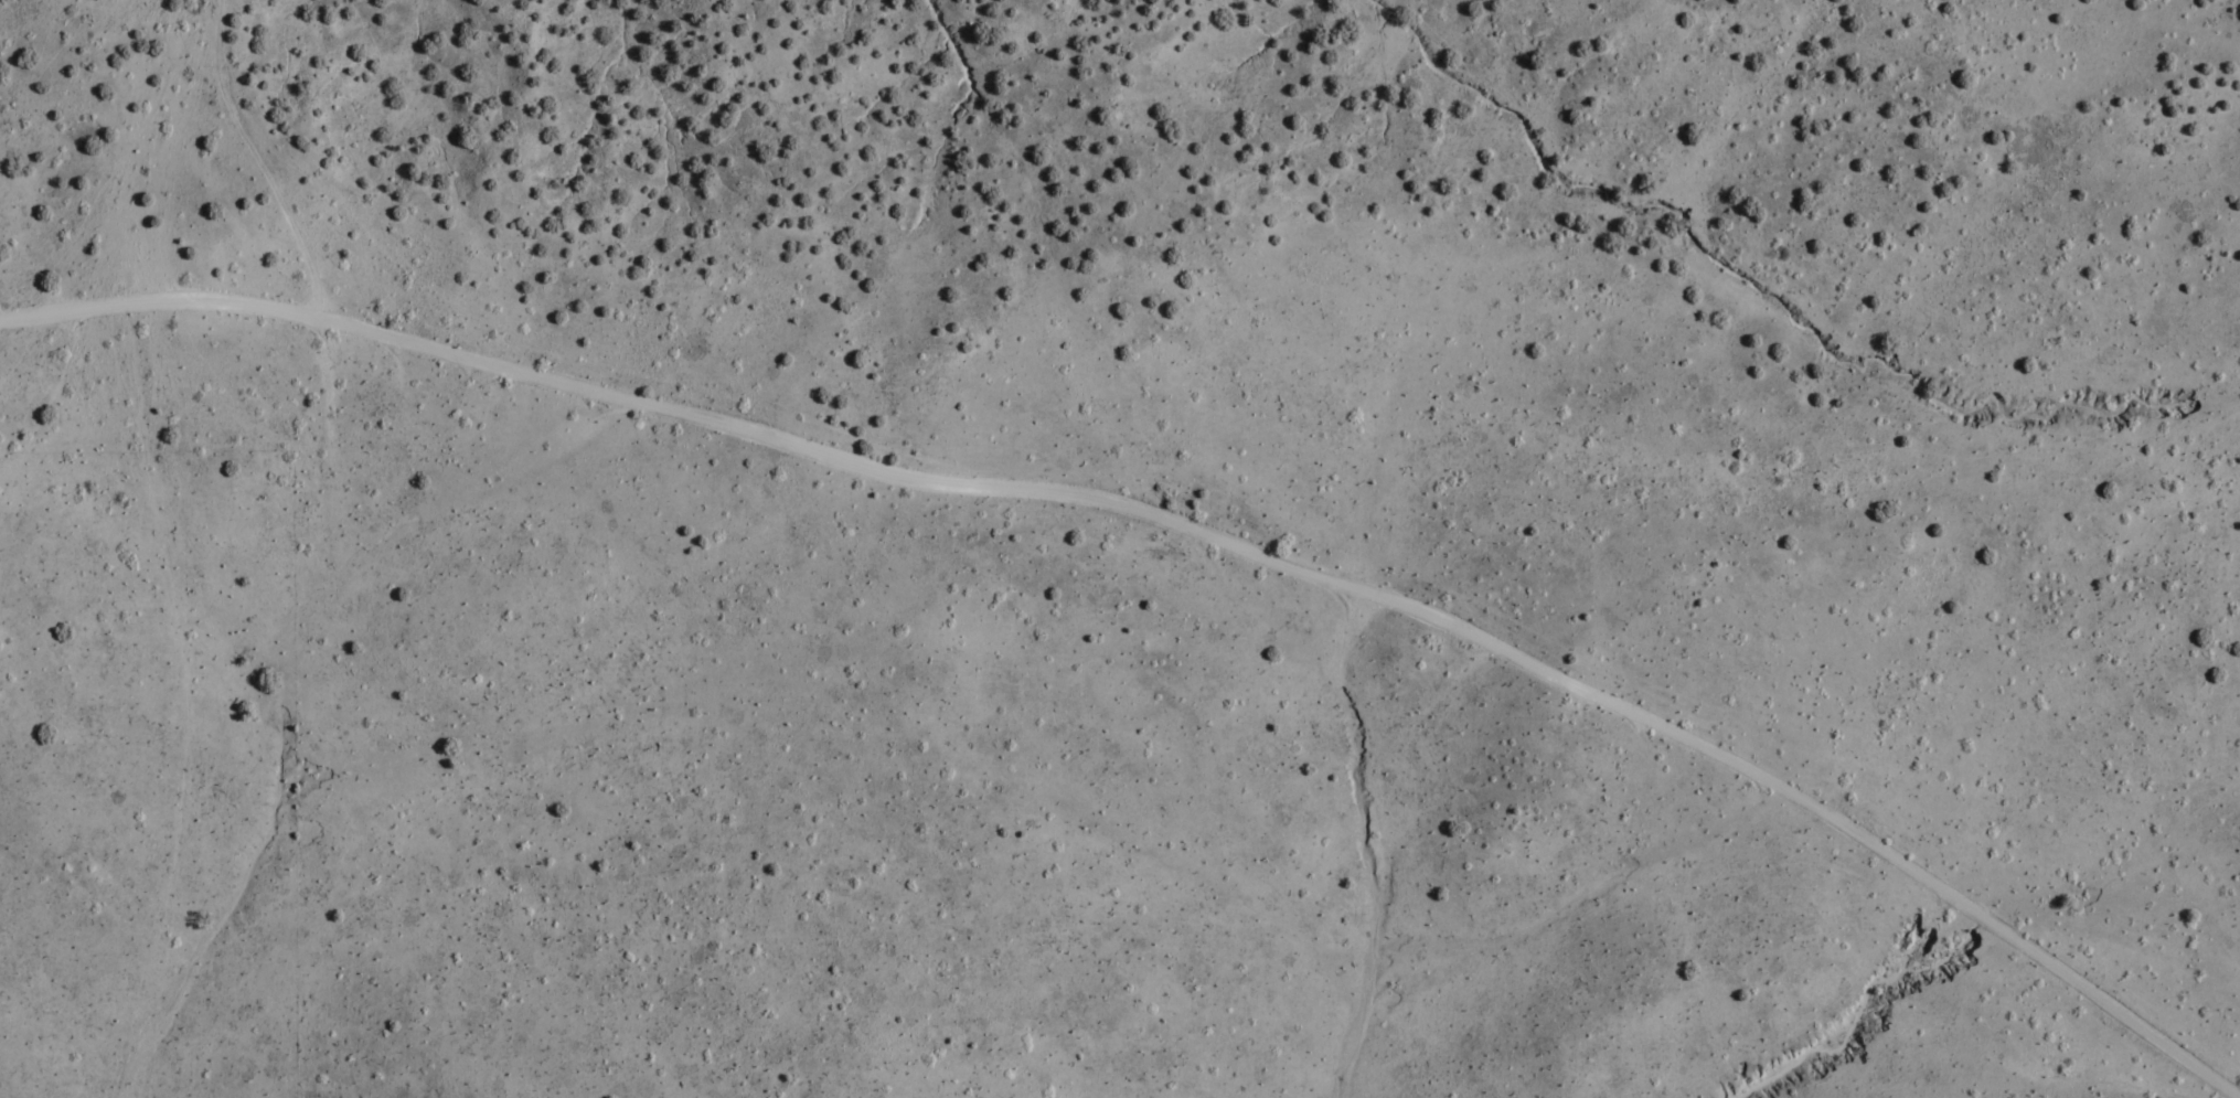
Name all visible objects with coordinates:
road: (1180, 524)

